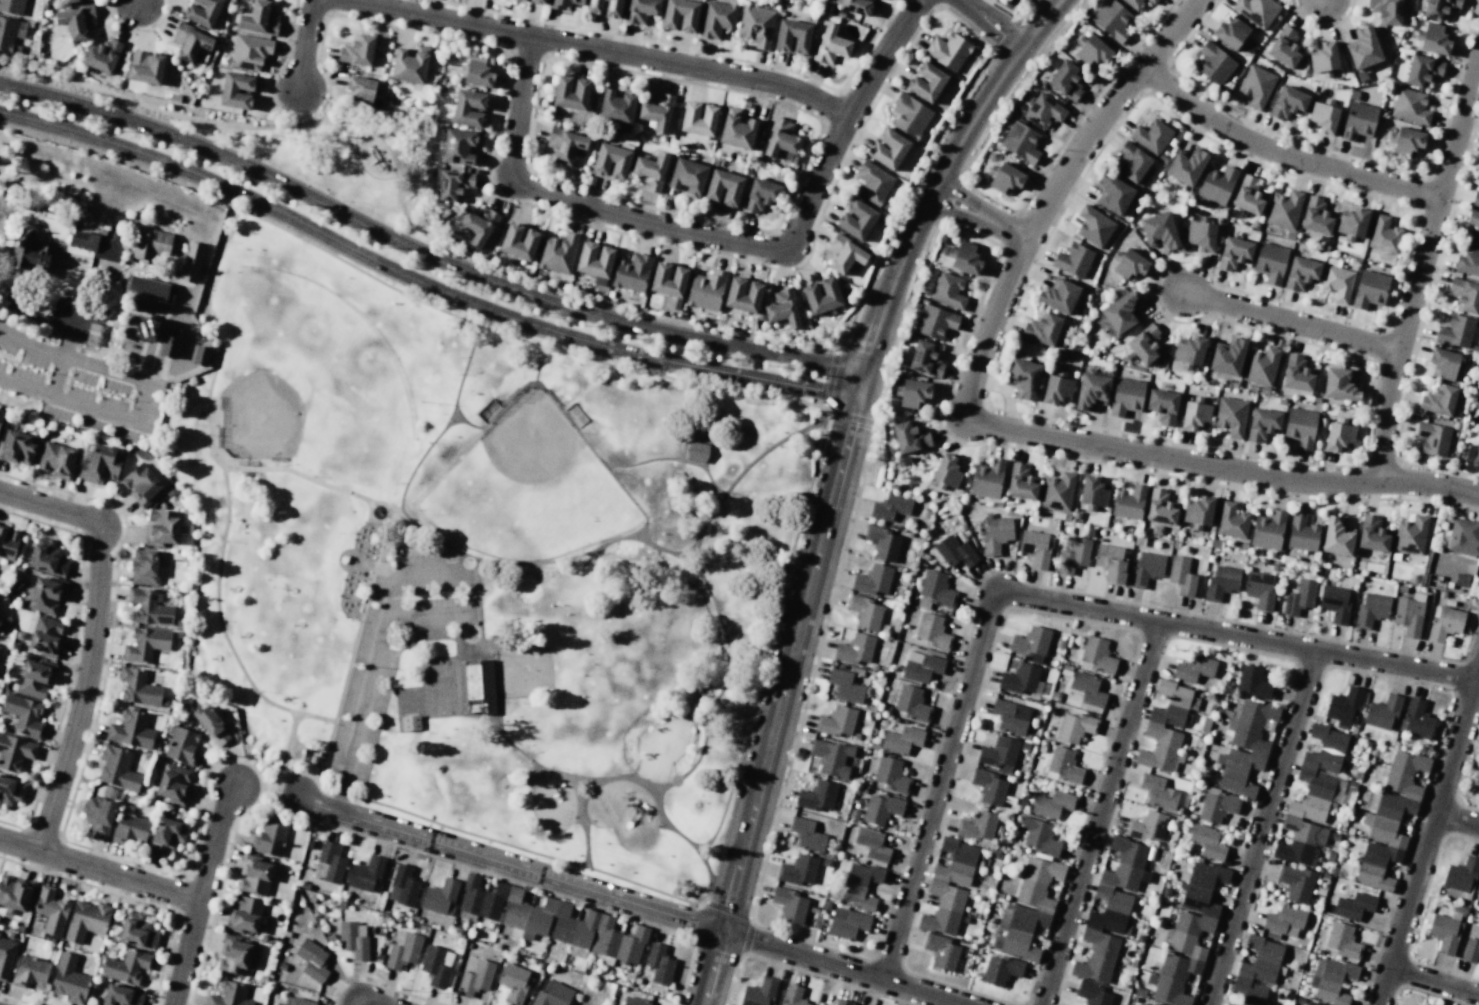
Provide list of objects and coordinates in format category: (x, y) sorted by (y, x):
building: (70, 1)
building: (536, 1)
building: (1151, 1)
road: (139, 2)
building: (555, 4)
building: (1134, 4)
building: (12, 6)
building: (855, 6)
building: (604, 7)
building: (1439, 8)
building: (641, 10)
building: (1256, 11)
building: (1385, 11)
building: (202, 12)
building: (679, 15)
building: (259, 19)
building: (716, 19)
building: (1111, 20)
building: (75, 21)
road: (989, 24)
building: (756, 26)
building: (1230, 32)
building: (8, 33)
building: (792, 36)
building: (1433, 39)
building: (189, 42)
building: (830, 45)
road: (309, 46)
building: (1284, 47)
building: (1363, 48)
road: (596, 49)
building: (357, 50)
building: (948, 51)
building: (1091, 51)
building: (248, 52)
building: (101, 56)
building: (1323, 58)
building: (1214, 64)
building: (409, 65)
building: (145, 67)
building: (1422, 70)
building: (477, 72)
building: (1065, 80)
building: (925, 82)
building: (1256, 86)
building: (360, 88)
building: (236, 90)
building: (571, 92)
building: (1287, 102)
building: (616, 106)
building: (1410, 106)
building: (468, 108)
building: (657, 111)
building: (1043, 111)
building: (909, 115)
building: (698, 119)
building: (1358, 120)
building: (736, 130)
building: (1151, 136)
building: (781, 138)
building: (1020, 141)
building: (1405, 141)
building: (564, 145)
building: (459, 146)
building: (887, 148)
road: (1282, 154)
park: (336, 156)
building: (611, 161)
building: (1134, 165)
building: (1186, 166)
building: (650, 171)
building: (687, 177)
building: (1004, 178)
building: (872, 182)
building: (454, 184)
building: (1216, 184)
building: (723, 187)
building: (1112, 194)
building: (760, 195)
road: (1055, 196)
building: (1247, 196)
building: (1475, 197)
building: (1284, 210)
building: (1315, 216)
building: (855, 219)
road: (981, 219)
building: (1352, 222)
building: (478, 225)
building: (1474, 225)
building: (1093, 226)
road: (317, 231)
building: (1159, 231)
building: (1384, 235)
road: (716, 238)
building: (518, 241)
building: (148, 244)
building: (557, 253)
building: (1233, 253)
building: (843, 254)
road: (425, 255)
building: (963, 257)
building: (29, 260)
building: (1073, 260)
building: (190, 261)
building: (594, 261)
building: (1468, 261)
building: (1270, 262)
building: (1129, 264)
road: (1420, 267)
building: (631, 272)
building: (1300, 273)
building: (668, 282)
building: (1337, 283)
building: (148, 288)
building: (1369, 289)
building: (705, 290)
building: (948, 291)
building: (742, 294)
building: (821, 295)
building: (1058, 295)
building: (1465, 295)
building: (782, 308)
building: (1120, 313)
road: (73, 318)
road: (1289, 319)
building: (934, 322)
road: (67, 326)
building: (145, 328)
building: (1044, 330)
building: (1455, 331)
building: (169, 341)
building: (1144, 344)
building: (1189, 350)
building: (200, 355)
building: (1227, 357)
building: (924, 359)
road: (78, 361)
building: (1444, 363)
road: (537, 364)
building: (1260, 366)
road: (623, 367)
road: (463, 369)
park: (305, 373)
building: (1296, 373)
road: (747, 376)
building: (1022, 378)
building: (1339, 384)
building: (1056, 389)
building: (1091, 391)
building: (912, 393)
building: (1126, 396)
building: (1438, 400)
building: (1162, 405)
building: (1478, 405)
road: (88, 408)
building: (0, 411)
road: (497, 413)
road: (709, 413)
building: (1195, 414)
building: (1230, 416)
building: (1262, 424)
building: (1300, 427)
building: (909, 436)
building: (1433, 438)
road: (684, 441)
building: (17, 447)
road: (708, 451)
building: (696, 452)
building: (1473, 453)
road: (597, 457)
road: (420, 458)
building: (57, 459)
road: (671, 459)
building: (100, 464)
road: (1222, 470)
road: (223, 472)
building: (946, 472)
road: (299, 475)
building: (986, 479)
road: (837, 483)
building: (1020, 483)
building: (141, 484)
park: (525, 487)
building: (1057, 492)
building: (1092, 492)
building: (1128, 502)
building: (890, 506)
building: (1160, 508)
road: (393, 509)
building: (1198, 510)
road: (386, 514)
building: (1231, 521)
building: (0, 523)
building: (162, 526)
building: (1267, 530)
building: (995, 533)
building: (1301, 533)
building: (1372, 534)
building: (1410, 535)
building: (1337, 537)
building: (1463, 537)
road: (646, 541)
building: (882, 542)
building: (8, 545)
building: (1035, 548)
building: (954, 552)
building: (1073, 554)
building: (47, 557)
park: (472, 561)
building: (1110, 562)
road: (685, 564)
building: (144, 567)
building: (1146, 568)
road: (387, 569)
building: (1181, 575)
road: (469, 581)
building: (872, 581)
building: (1220, 582)
building: (935, 589)
building: (1260, 589)
building: (45, 595)
building: (1299, 597)
road: (1040, 600)
building: (1334, 603)
road: (479, 604)
building: (149, 606)
building: (1371, 608)
building: (864, 611)
building: (1408, 614)
building: (0, 623)
building: (1444, 623)
building: (931, 631)
building: (45, 636)
road: (93, 636)
road: (429, 638)
road: (354, 642)
building: (1029, 642)
building: (144, 644)
building: (855, 649)
building: (1096, 655)
building: (920, 666)
building: (1194, 668)
building: (34, 678)
building: (1019, 679)
building: (1253, 682)
park: (440, 686)
building: (844, 686)
building: (137, 687)
building: (476, 687)
building: (1087, 688)
building: (910, 703)
building: (1344, 704)
building: (1384, 712)
parking lot: (359, 713)
road: (361, 713)
building: (24, 715)
building: (1010, 716)
road: (315, 717)
building: (1416, 719)
building: (409, 722)
building: (836, 722)
building: (211, 725)
building: (1166, 726)
building: (1075, 727)
building: (130, 730)
road: (709, 731)
building: (901, 740)
building: (181, 746)
building: (1244, 746)
building: (16, 752)
building: (998, 752)
building: (830, 757)
road: (283, 761)
road: (531, 763)
building: (1062, 766)
building: (117, 768)
building: (890, 774)
road: (620, 778)
building: (1478, 781)
building: (173, 783)
road: (531, 784)
road: (254, 786)
building: (990, 786)
road: (323, 787)
road: (498, 789)
building: (12, 790)
building: (1158, 792)
building: (817, 796)
building: (1313, 798)
building: (1052, 804)
building: (1217, 806)
building: (880, 807)
road: (1101, 813)
building: (98, 816)
building: (1390, 819)
road: (1457, 821)
building: (976, 825)
building: (1147, 826)
road: (1262, 828)
building: (130, 829)
building: (806, 834)
building: (166, 836)
building: (1038, 836)
building: (269, 839)
road: (1427, 839)
building: (1207, 841)
building: (871, 843)
road: (525, 849)
building: (329, 863)
road: (99, 869)
building: (798, 870)
building: (1041, 870)
building: (364, 873)
building: (1461, 874)
building: (254, 876)
building: (1296, 883)
building: (859, 885)
building: (402, 886)
building: (949, 886)
building: (15, 893)
building: (1477, 893)
road: (200, 894)
building: (440, 897)
road: (627, 902)
building: (789, 904)
road: (716, 906)
building: (1353, 906)
building: (51, 910)
building: (1111, 910)
building: (244, 914)
building: (1026, 919)
building: (1284, 919)
building: (86, 920)
building: (551, 921)
building: (847, 923)
building: (137, 931)
building: (1444, 933)
building: (1188, 934)
building: (353, 938)
building: (1342, 941)
building: (1471, 950)
building: (403, 952)
building: (941, 952)
building: (235, 955)
building: (5, 960)
building: (311, 960)
building: (659, 964)
building: (126, 966)
building: (1000, 970)
building: (1257, 970)
building: (30, 972)
building: (68, 979)
building: (475, 979)
building: (513, 982)
building: (1330, 982)
road: (1434, 983)
building: (759, 992)
building: (1092, 993)
building: (551, 994)
building: (120, 995)
building: (228, 995)
building: (793, 995)
building: (295, 1001)
building: (634, 1001)
building: (842, 1002)
road: (370, 1003)
building: (1141, 1004)
building: (1153, 1004)
building: (1226, 1004)
building: (1421, 1004)

